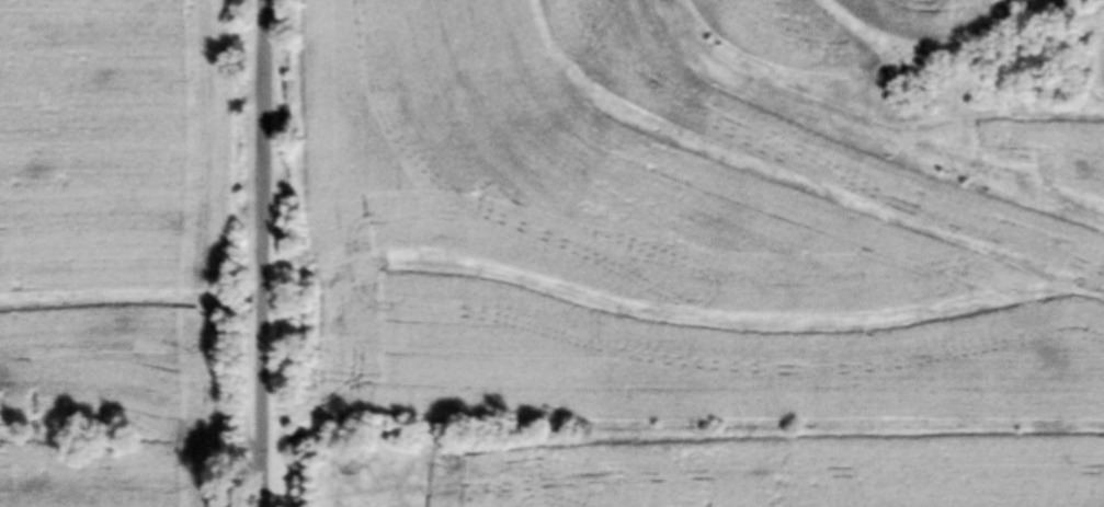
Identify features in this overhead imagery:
road: (260, 253)

